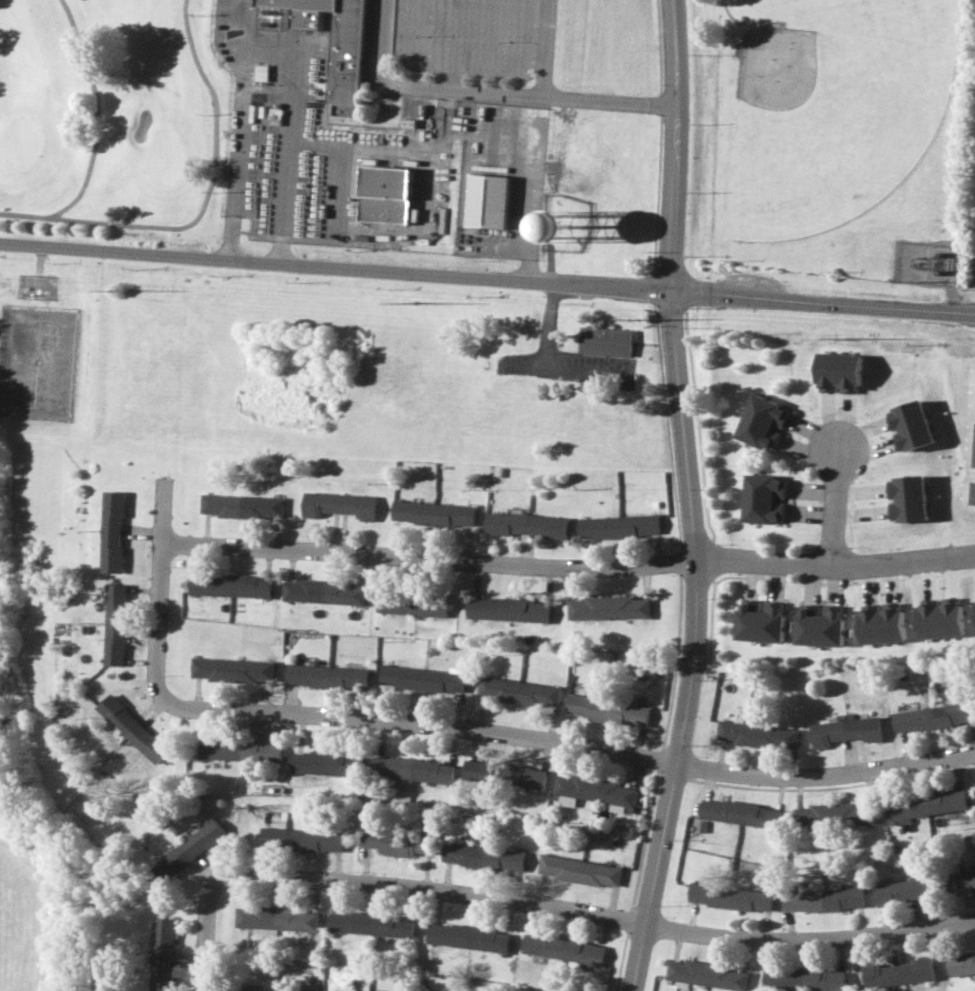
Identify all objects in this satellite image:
building: (333, 41)
road: (543, 47)
road: (267, 56)
road: (490, 91)
park: (109, 115)
park: (832, 124)
park: (833, 145)
building: (382, 194)
building: (486, 201)
building: (566, 226)
water tower: (572, 230)
road: (487, 280)
building: (607, 340)
building: (762, 421)
building: (974, 459)
building: (972, 493)
building: (764, 498)
road: (678, 500)
road: (163, 504)
building: (240, 505)
building: (338, 506)
road: (831, 507)
building: (433, 512)
building: (525, 526)
building: (615, 527)
building: (110, 534)
road: (427, 558)
road: (834, 563)
building: (229, 588)
building: (322, 594)
building: (412, 605)
building: (607, 611)
building: (508, 612)
building: (940, 618)
building: (760, 620)
building: (819, 625)
building: (114, 626)
building: (229, 670)
building: (326, 677)
building: (423, 680)
building: (518, 692)
building: (606, 711)
building: (933, 717)
road: (493, 728)
building: (845, 730)
building: (129, 731)
building: (757, 734)
building: (241, 749)
building: (324, 762)
building: (413, 769)
building: (505, 773)
building: (595, 792)
building: (924, 805)
building: (738, 812)
building: (833, 814)
building: (302, 839)
building: (398, 841)
building: (190, 850)
building: (484, 857)
building: (579, 870)
building: (970, 878)
building: (947, 883)
building: (905, 890)
building: (730, 897)
building: (823, 899)
road: (574, 906)
building: (277, 918)
building: (371, 924)
building: (468, 937)
building: (563, 948)
building: (163, 954)
road: (206, 957)
building: (961, 963)
building: (896, 972)
building: (706, 975)
building: (803, 979)

